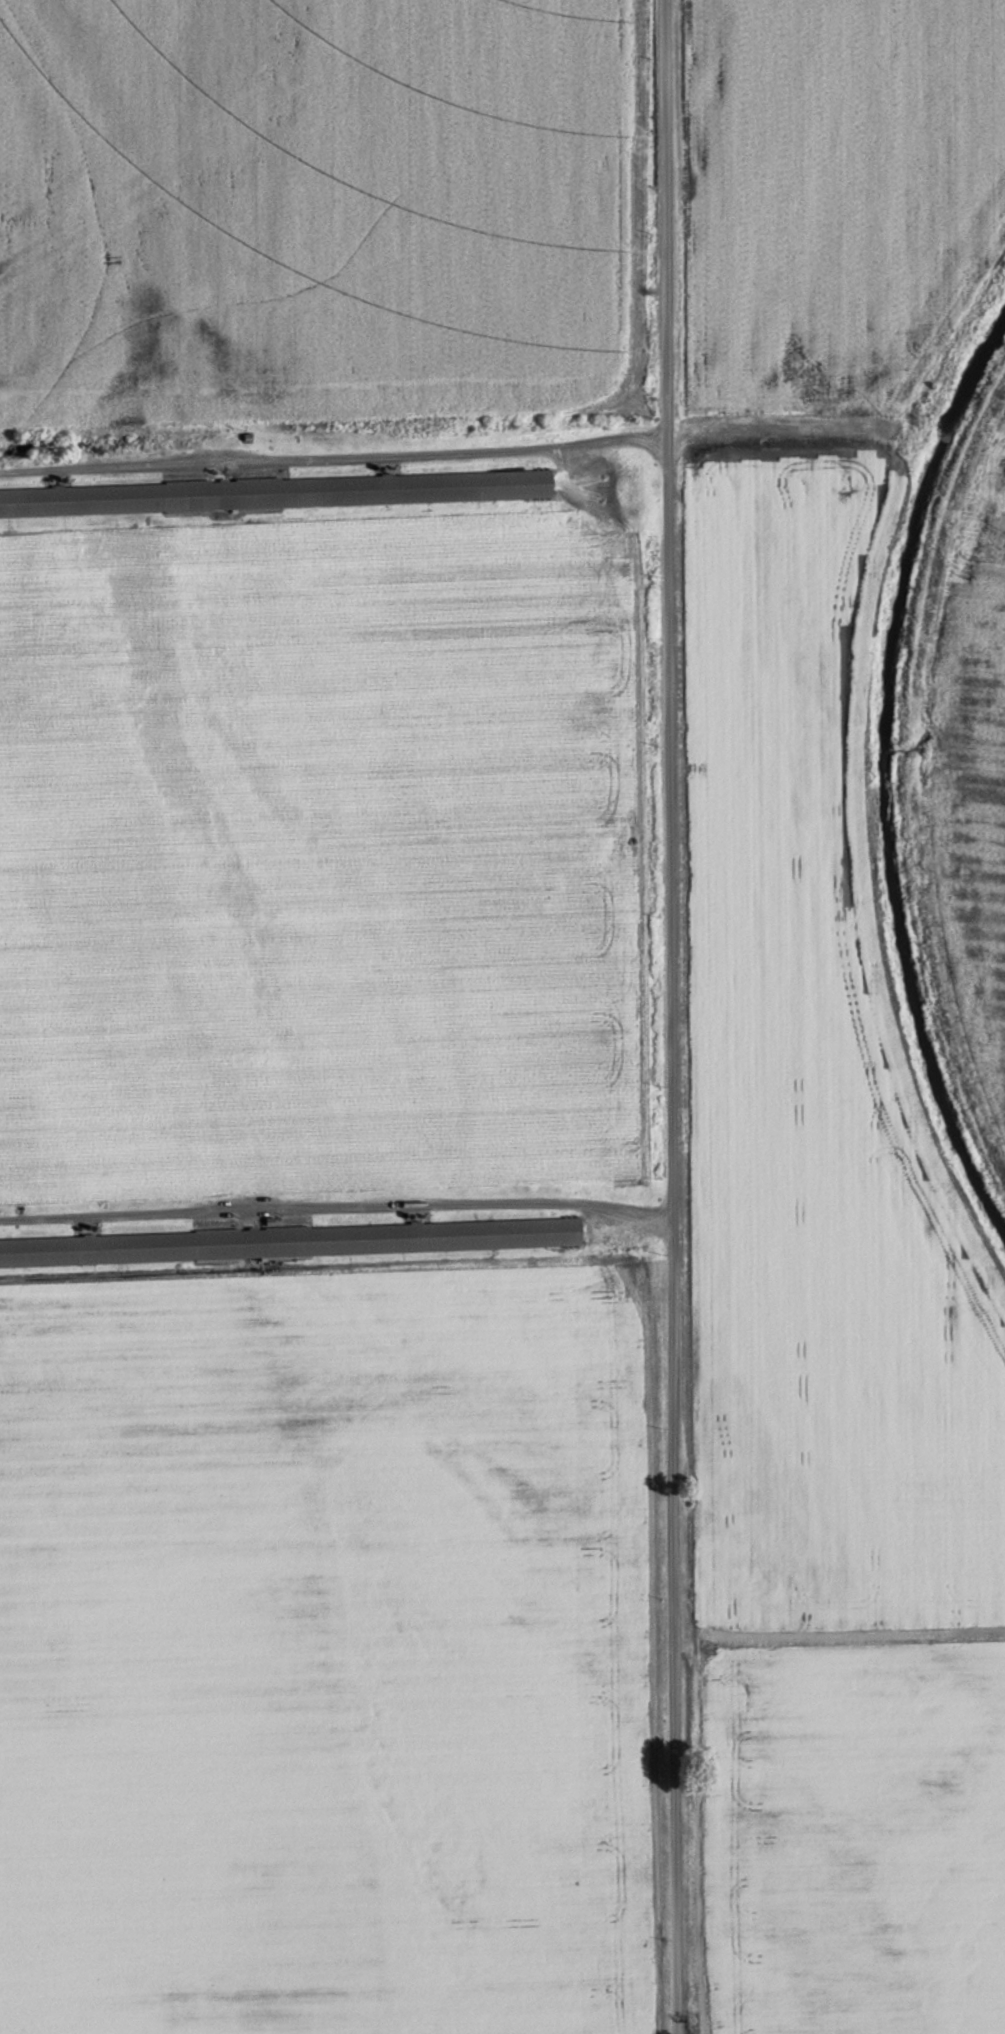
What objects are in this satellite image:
road: (334, 456)
building: (257, 494)
road: (671, 1017)
road: (337, 1202)
building: (292, 1243)

